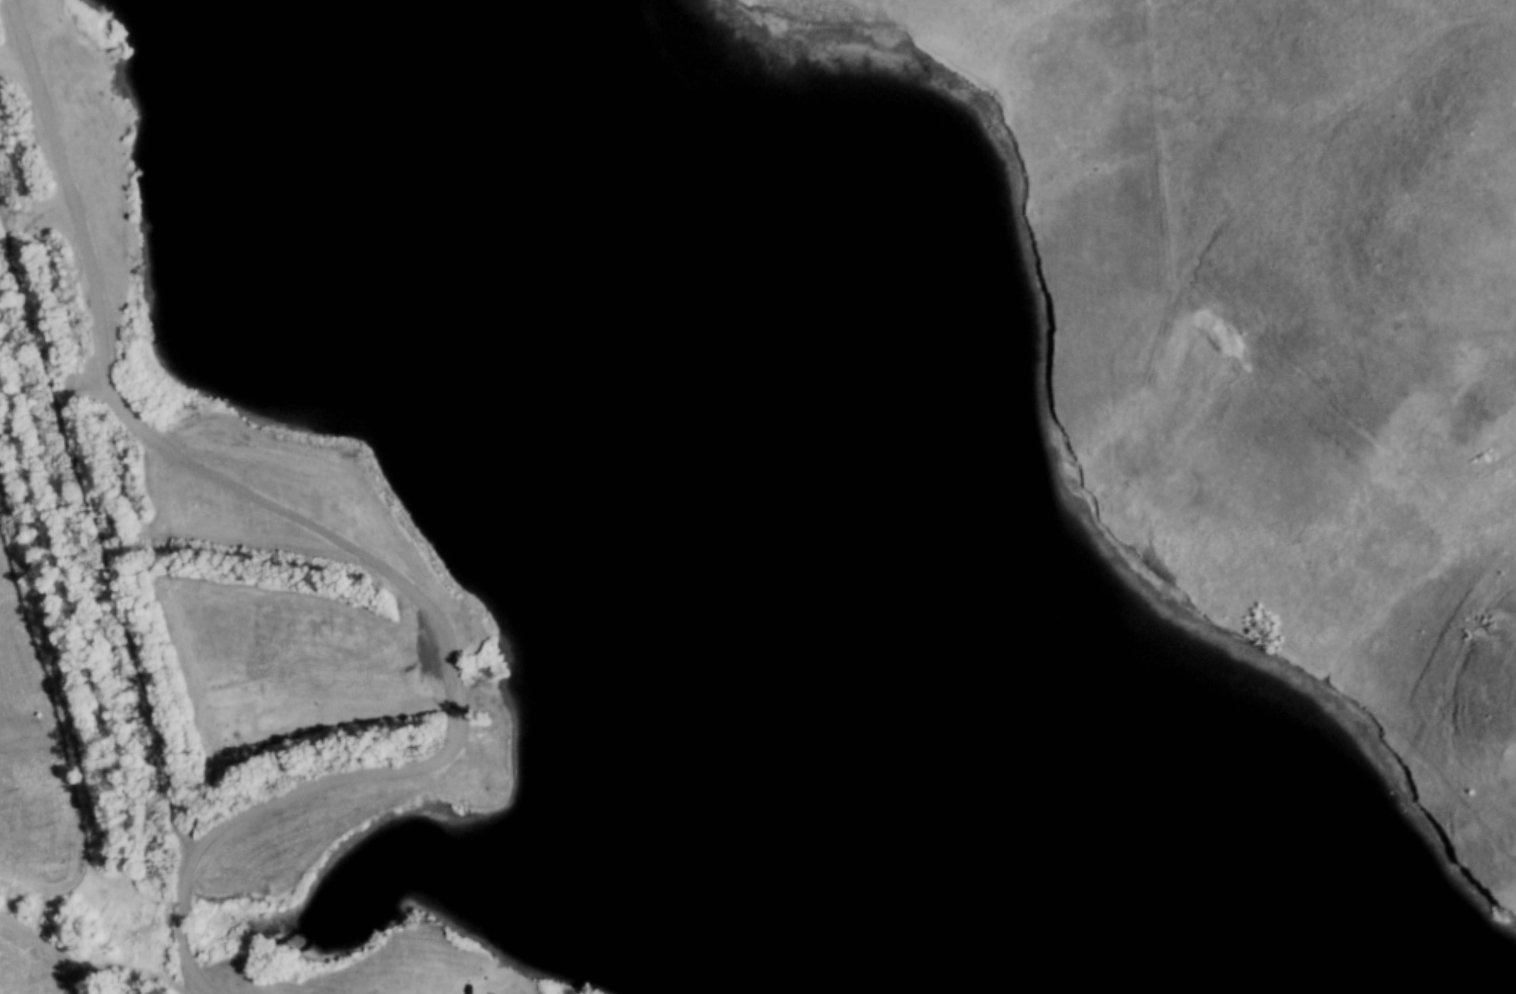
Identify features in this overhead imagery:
road: (111, 377)
road: (99, 546)
road: (450, 653)
road: (182, 937)

